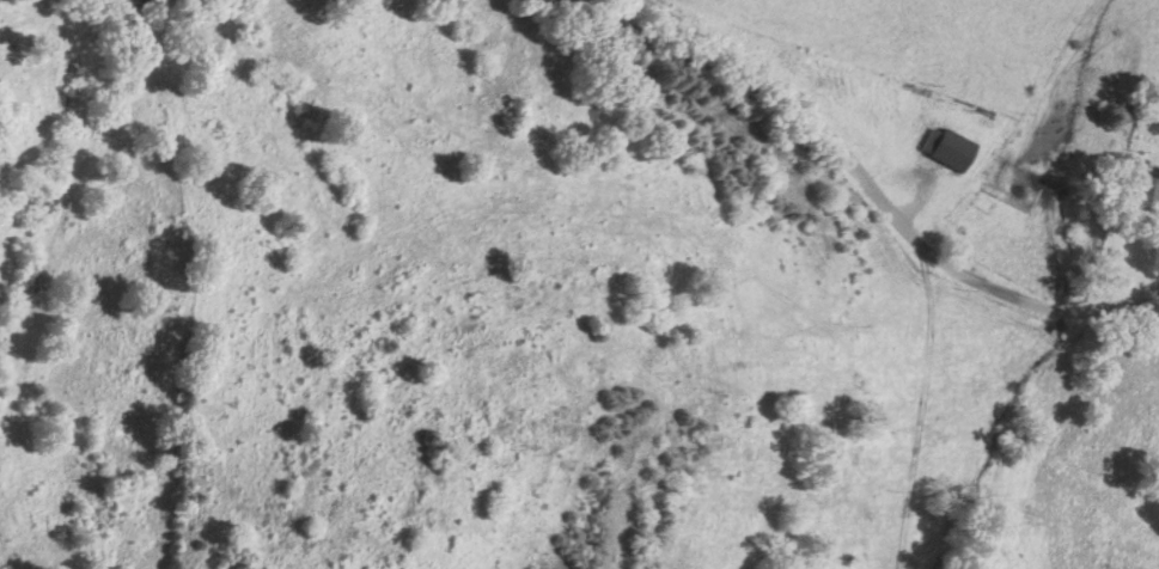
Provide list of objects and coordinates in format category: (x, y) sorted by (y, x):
building: (943, 148)
building: (1141, 192)
road: (876, 221)

